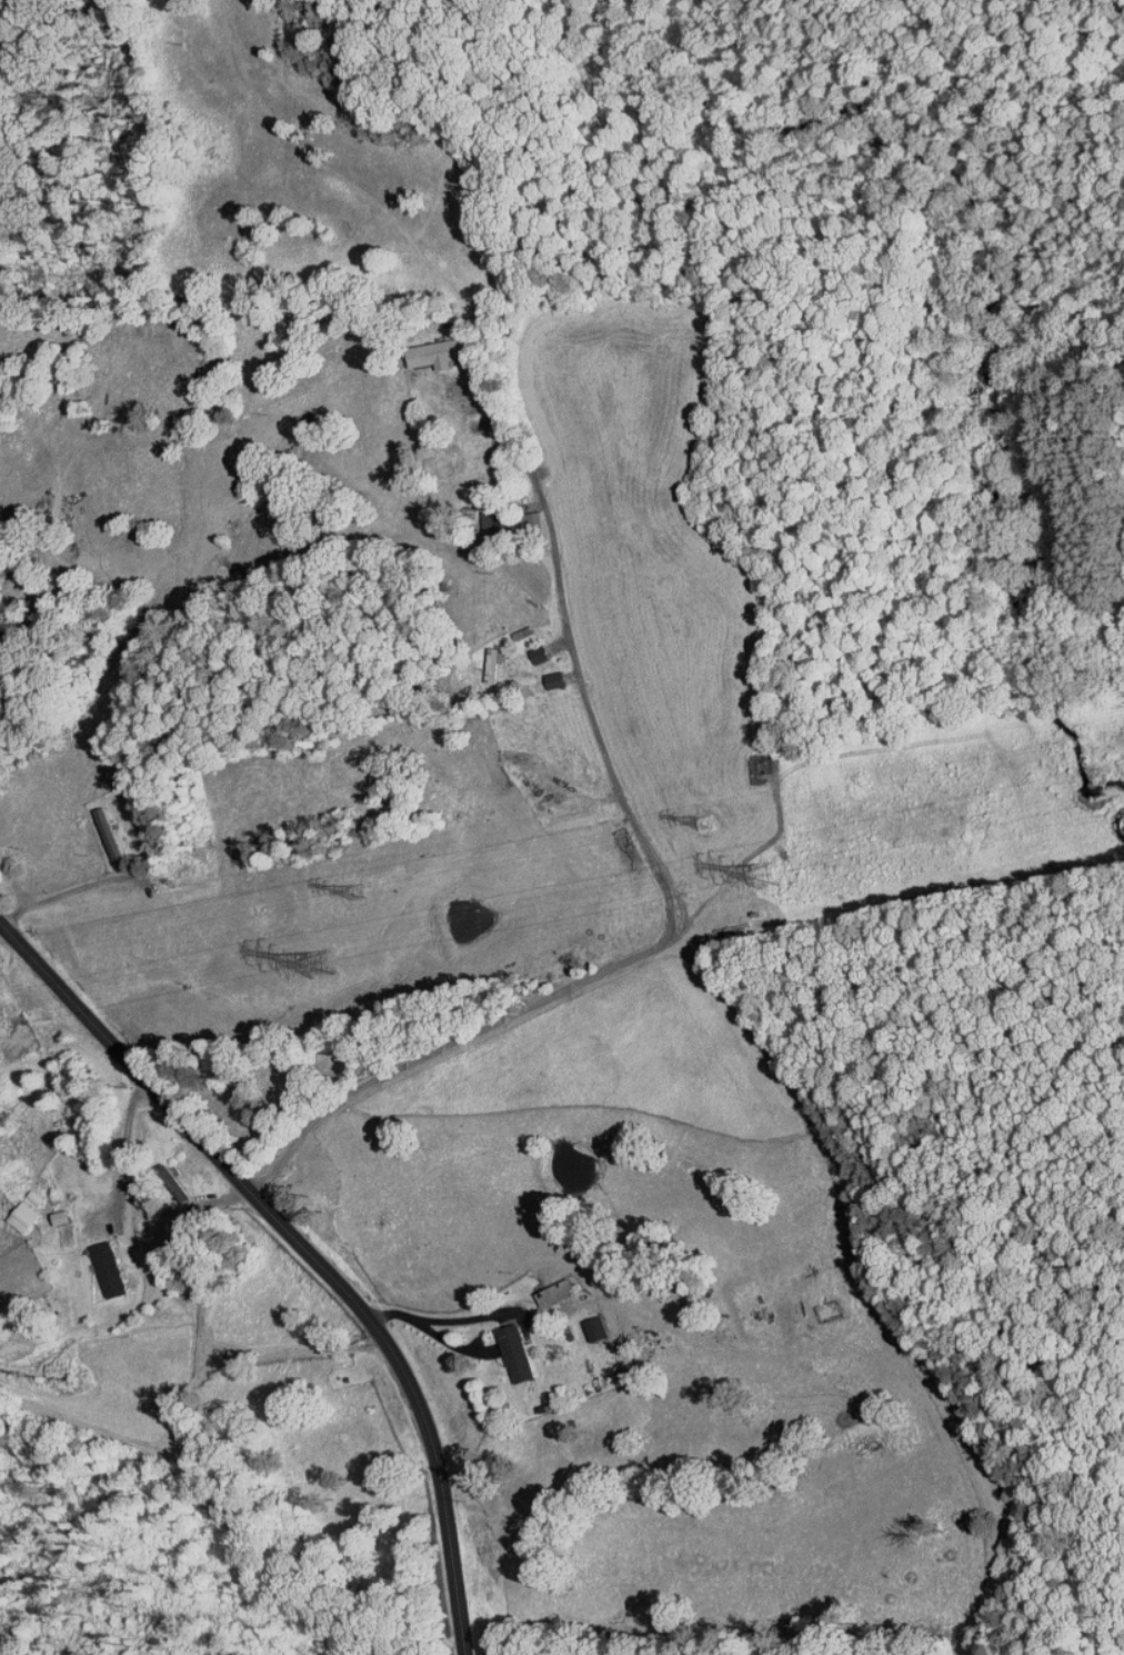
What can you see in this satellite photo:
road: (134, 243)
building: (432, 347)
road: (504, 422)
building: (484, 518)
road: (39, 559)
building: (529, 647)
building: (481, 658)
building: (544, 672)
power tower: (709, 824)
power tower: (772, 877)
power tower: (361, 896)
road: (666, 939)
power tower: (325, 966)
road: (124, 1147)
building: (164, 1177)
building: (12, 1210)
road: (307, 1245)
building: (99, 1263)
building: (544, 1285)
building: (585, 1322)
building: (504, 1347)

